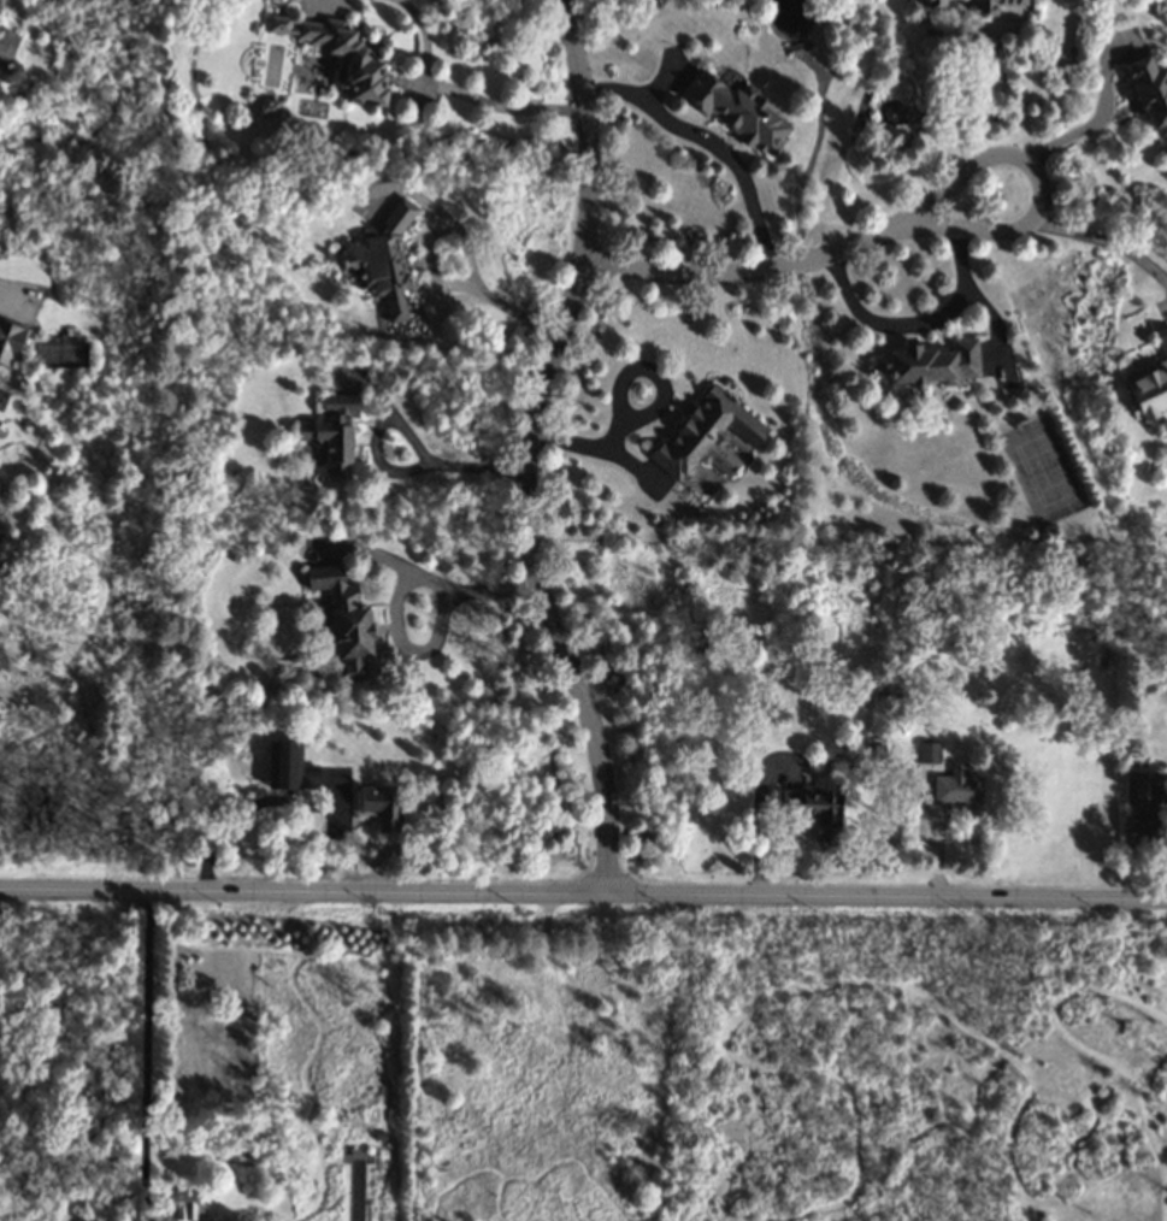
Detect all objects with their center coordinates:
building: (933, 2)
building: (994, 5)
building: (6, 43)
building: (360, 65)
building: (8, 71)
building: (1148, 88)
building: (265, 106)
road: (500, 106)
road: (953, 108)
building: (736, 111)
road: (1102, 118)
road: (708, 144)
road: (1038, 187)
road: (1106, 243)
building: (382, 258)
road: (737, 276)
road: (16, 296)
road: (497, 301)
road: (914, 324)
building: (8, 341)
park: (59, 354)
building: (929, 362)
building: (1149, 385)
road: (662, 388)
building: (331, 430)
building: (707, 435)
road: (530, 446)
road: (595, 452)
road: (399, 473)
park: (1041, 473)
road: (434, 606)
building: (342, 619)
building: (927, 751)
building: (288, 766)
building: (1134, 785)
building: (956, 786)
building: (379, 806)
road: (249, 809)
building: (815, 809)
building: (1144, 826)
road: (759, 828)
road: (583, 890)
road: (145, 1054)
building: (378, 1134)
building: (87, 1137)
building: (182, 1202)

